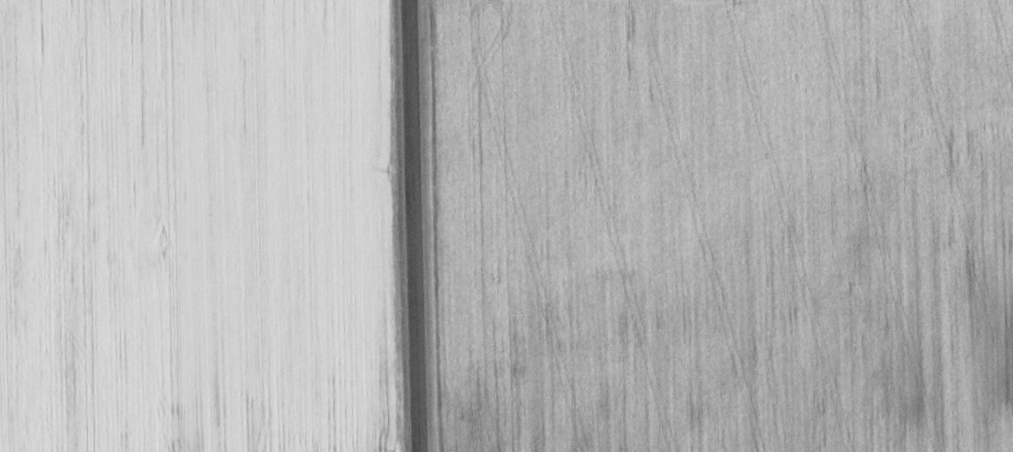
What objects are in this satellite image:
road: (416, 226)

